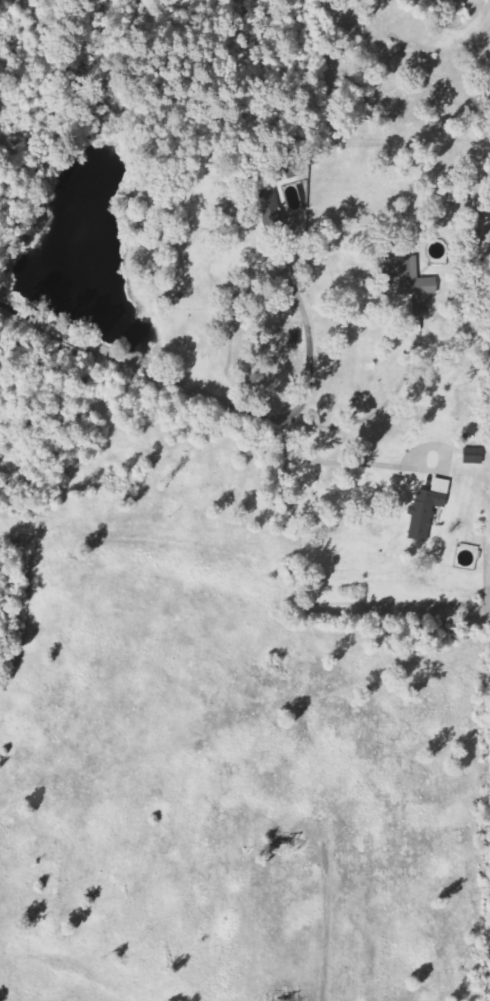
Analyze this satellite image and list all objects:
building: (464, 194)
building: (486, 224)
building: (415, 283)
road: (311, 346)
road: (216, 397)
building: (475, 456)
building: (430, 508)

